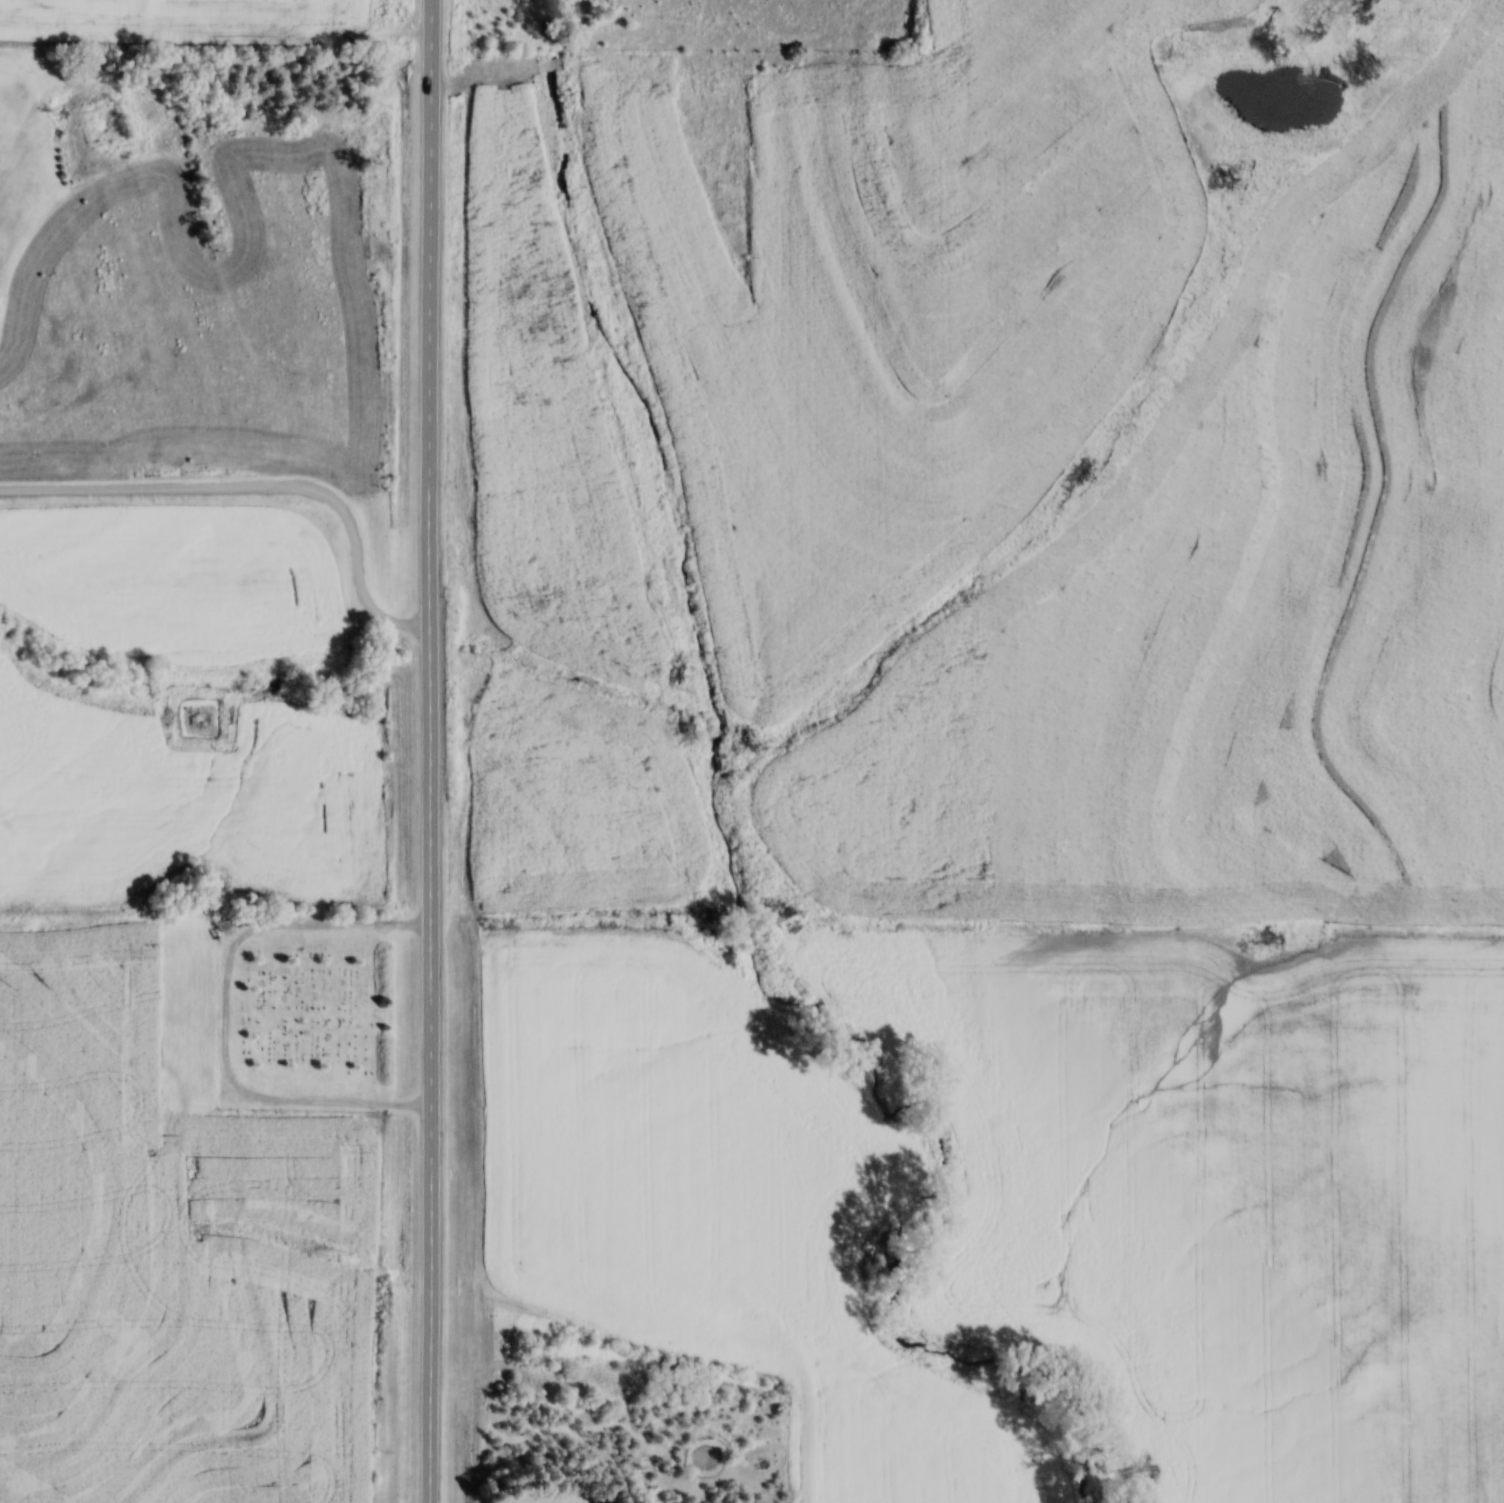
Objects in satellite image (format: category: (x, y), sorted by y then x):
road: (428, 751)

